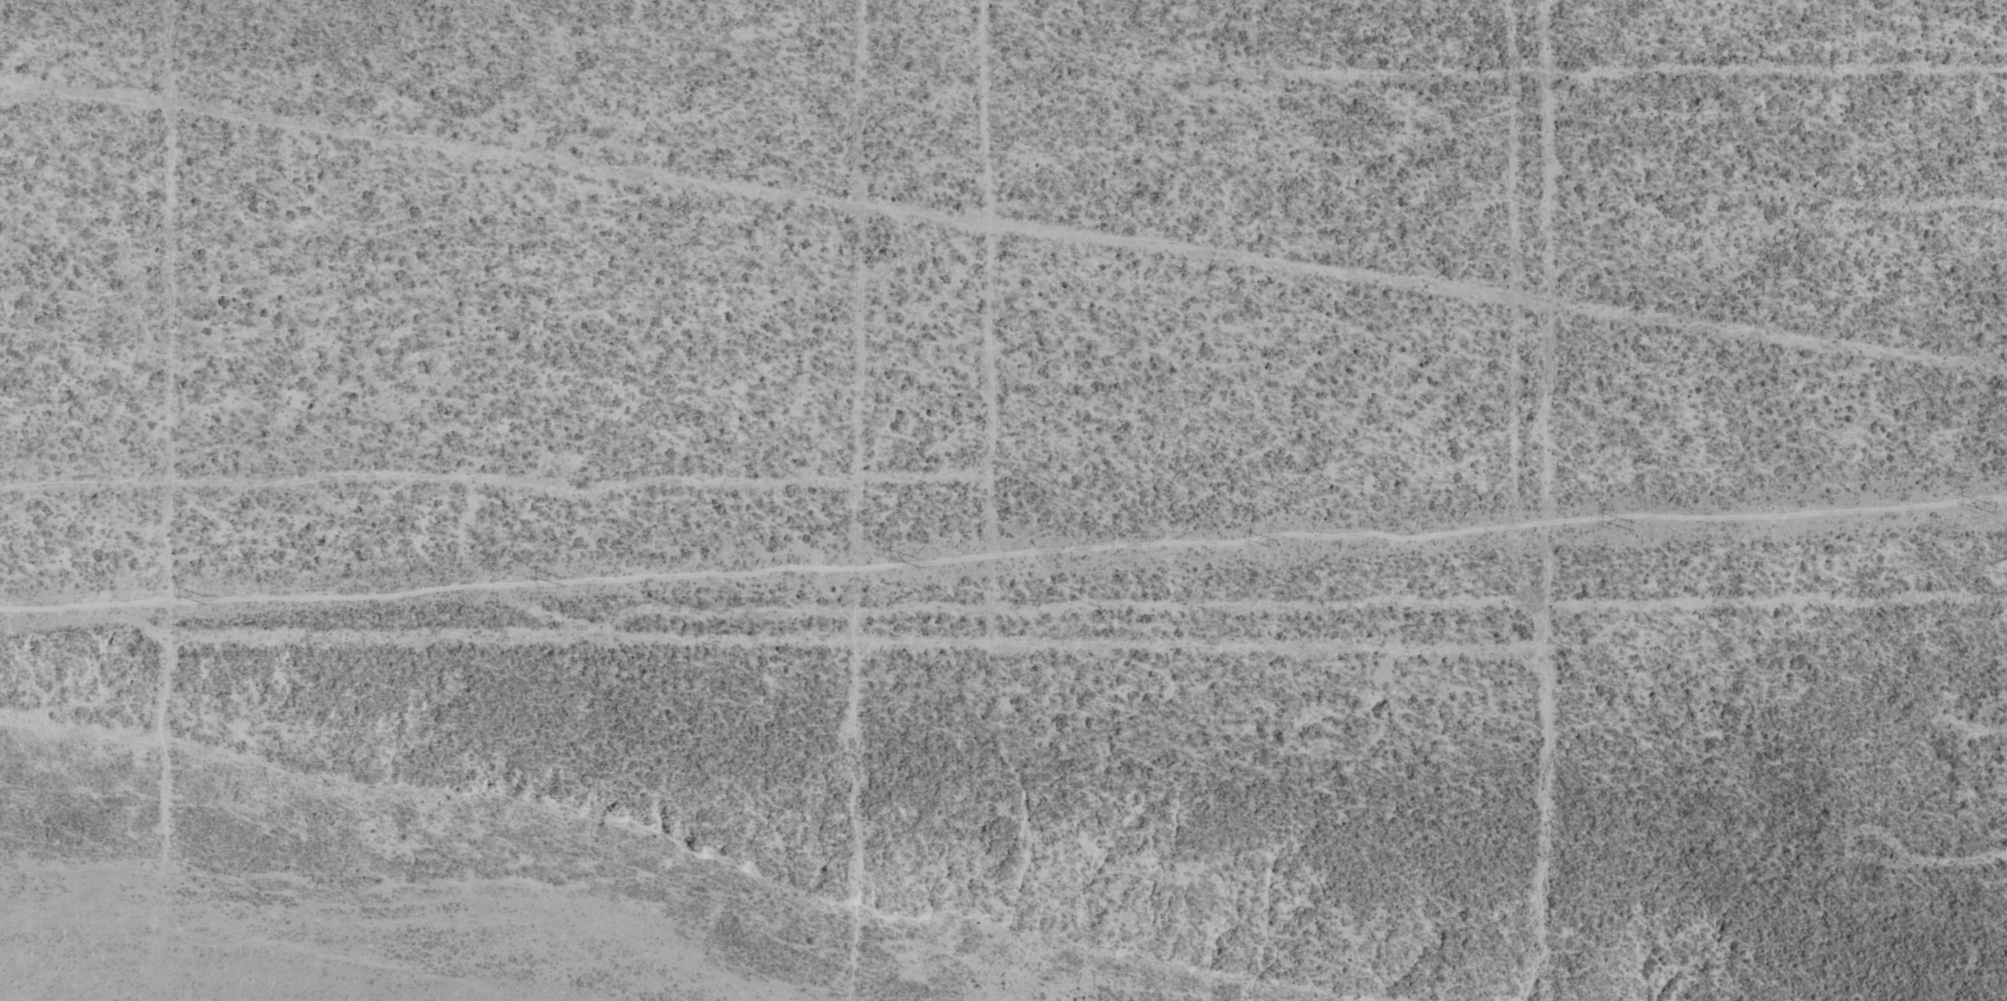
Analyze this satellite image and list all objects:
power tower: (1991, 509)
power tower: (1634, 527)
power tower: (1277, 545)
power tower: (921, 564)
power tower: (563, 582)
power tower: (206, 600)

